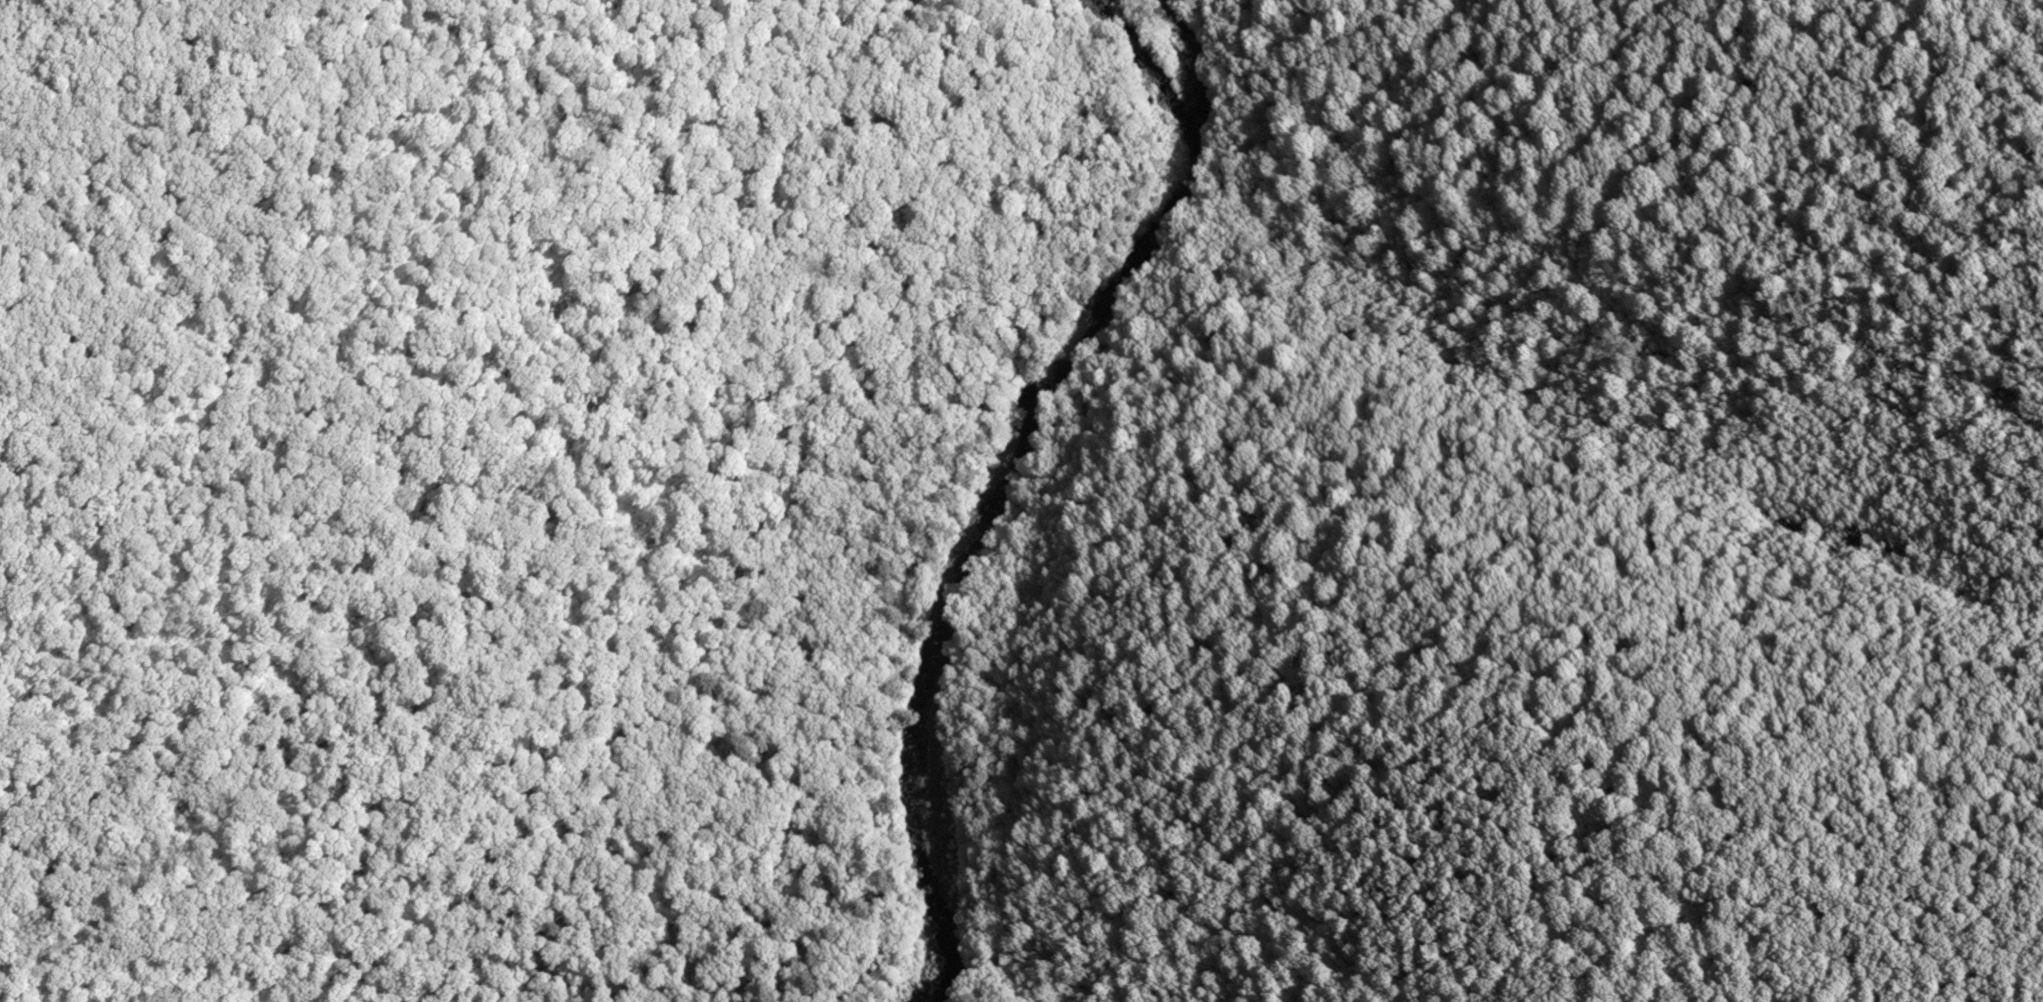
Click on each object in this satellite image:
road: (77, 79)
river: (988, 475)
road: (1163, 478)

